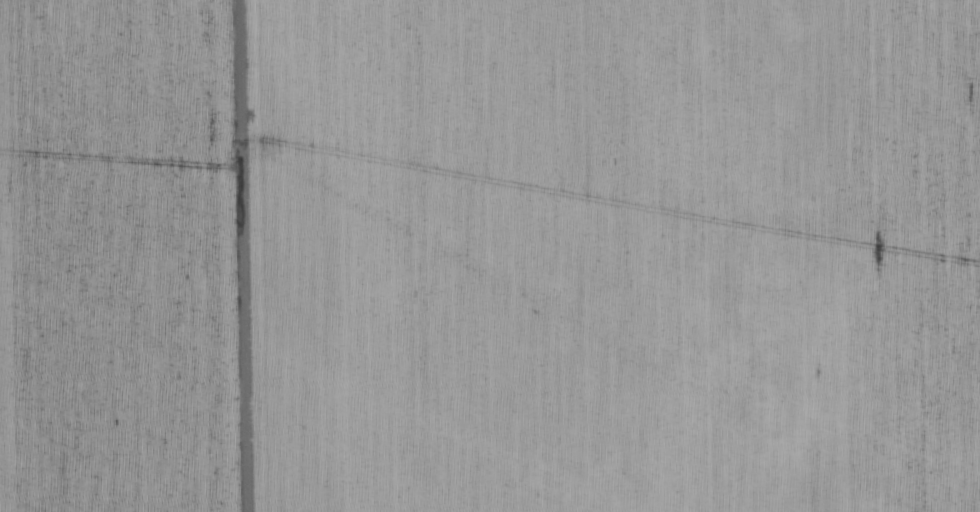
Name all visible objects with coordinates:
crop: (490, 256)

